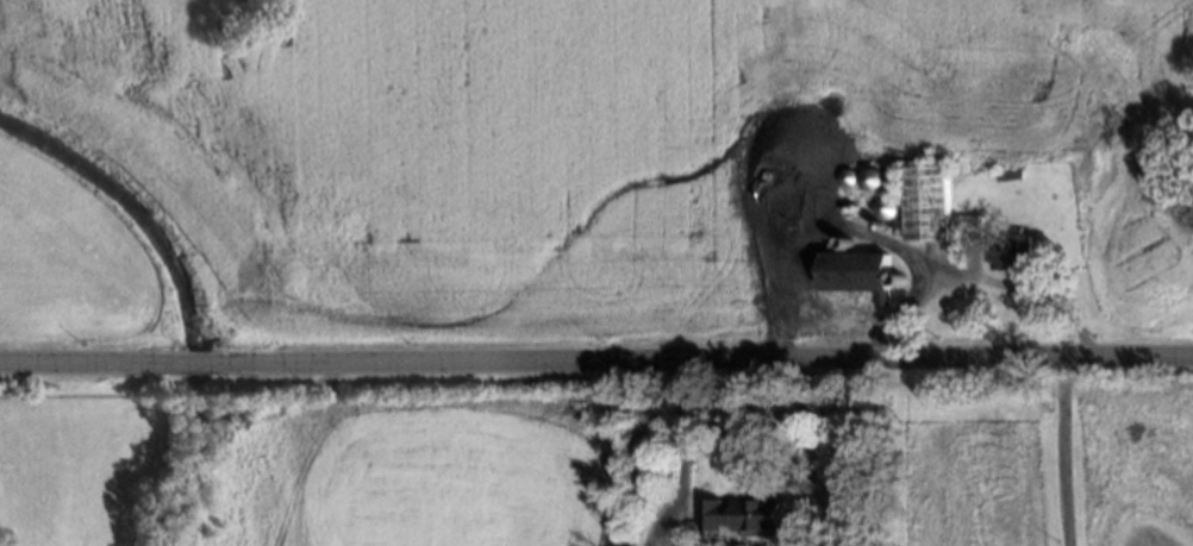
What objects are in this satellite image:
building: (847, 174)
building: (1006, 174)
building: (870, 176)
building: (927, 203)
building: (851, 205)
building: (886, 205)
building: (844, 206)
building: (879, 221)
building: (898, 225)
building: (969, 227)
building: (845, 238)
building: (1013, 251)
building: (855, 271)
road: (983, 276)
road: (83, 359)
road: (198, 360)
road: (710, 360)
road: (685, 434)
road: (1067, 453)
building: (742, 513)

